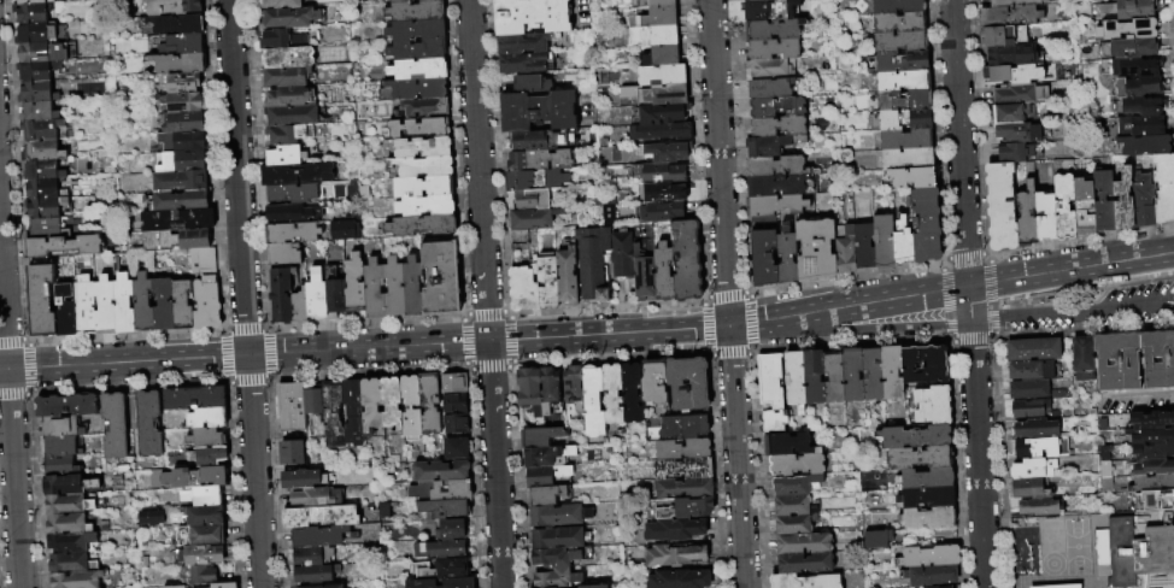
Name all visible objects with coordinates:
building: (427, 0)
building: (763, 0)
building: (1119, 0)
building: (34, 1)
building: (398, 1)
building: (1015, 2)
building: (280, 4)
building: (652, 4)
building: (898, 6)
building: (172, 7)
building: (1128, 8)
building: (769, 10)
building: (415, 11)
building: (33, 13)
building: (532, 16)
building: (1009, 16)
building: (652, 17)
building: (289, 18)
building: (899, 23)
building: (168, 25)
building: (773, 29)
building: (1127, 29)
building: (416, 30)
building: (35, 34)
building: (653, 35)
building: (1003, 36)
building: (284, 39)
building: (900, 42)
building: (524, 43)
building: (178, 45)
building: (1128, 47)
building: (417, 49)
building: (773, 49)
building: (46, 53)
building: (1011, 54)
building: (661, 55)
building: (288, 57)
building: (900, 61)
building: (526, 63)
building: (178, 64)
building: (1131, 66)
building: (770, 69)
building: (418, 70)
building: (37, 71)
building: (1012, 73)
building: (662, 75)
building: (284, 76)
building: (904, 81)
building: (181, 83)
building: (530, 84)
building: (1138, 87)
building: (413, 89)
building: (770, 89)
building: (36, 93)
building: (657, 94)
building: (1017, 94)
building: (288, 96)
building: (904, 100)
building: (178, 102)
building: (1143, 106)
building: (424, 107)
building: (776, 107)
building: (37, 112)
building: (539, 112)
building: (659, 113)
building: (1010, 113)
building: (292, 116)
building: (902, 120)
building: (183, 123)
building: (1137, 127)
building: (418, 128)
building: (777, 128)
building: (43, 130)
building: (661, 133)
building: (1020, 133)
building: (293, 134)
building: (542, 140)
building: (905, 140)
building: (181, 142)
building: (1145, 145)
building: (770, 146)
building: (423, 147)
building: (42, 151)
building: (664, 152)
building: (1017, 153)
building: (284, 157)
building: (908, 159)
building: (540, 160)
building: (184, 161)
road: (718, 163)
building: (774, 165)
building: (424, 166)
building: (1059, 166)
building: (42, 170)
building: (659, 172)
building: (297, 175)
building: (914, 178)
building: (535, 180)
building: (181, 181)
building: (777, 184)
building: (422, 187)
building: (48, 188)
building: (1163, 188)
building: (667, 192)
building: (289, 194)
building: (532, 200)
building: (1103, 200)
building: (1123, 200)
building: (180, 201)
building: (1143, 202)
building: (424, 206)
building: (775, 206)
building: (1002, 206)
building: (1064, 206)
building: (1084, 206)
building: (47, 207)
building: (659, 211)
building: (292, 213)
building: (607, 214)
building: (1026, 214)
building: (356, 216)
building: (1045, 216)
building: (534, 218)
building: (178, 220)
building: (924, 224)
building: (422, 225)
building: (47, 228)
building: (344, 230)
building: (292, 233)
building: (177, 240)
building: (902, 241)
building: (884, 242)
building: (63, 246)
building: (864, 247)
building: (845, 249)
building: (815, 251)
building: (284, 254)
building: (622, 254)
road: (1157, 254)
building: (764, 258)
building: (687, 259)
building: (787, 259)
road: (1111, 263)
building: (204, 264)
building: (591, 270)
building: (642, 271)
building: (664, 272)
building: (567, 277)
road: (1025, 277)
building: (441, 278)
building: (547, 283)
building: (354, 286)
building: (412, 287)
building: (394, 288)
building: (374, 289)
building: (523, 289)
building: (334, 293)
road: (242, 294)
building: (316, 294)
road: (483, 294)
road: (968, 294)
building: (281, 295)
building: (41, 298)
road: (1096, 300)
building: (143, 304)
building: (124, 305)
building: (163, 305)
building: (182, 305)
building: (84, 306)
building: (105, 306)
building: (206, 306)
building: (300, 306)
road: (847, 307)
building: (65, 311)
road: (1172, 311)
road: (1132, 313)
road: (1032, 318)
traffic signals: (728, 327)
road: (896, 329)
road: (364, 348)
building: (1033, 349)
traffic signals: (247, 355)
building: (1082, 358)
building: (1134, 361)
building: (923, 365)
building: (1029, 370)
building: (892, 374)
building: (852, 375)
building: (873, 375)
building: (815, 377)
building: (834, 378)
building: (794, 381)
building: (654, 382)
building: (770, 382)
building: (454, 383)
building: (573, 383)
building: (688, 383)
building: (548, 388)
building: (1028, 389)
building: (529, 390)
building: (632, 393)
building: (612, 394)
road: (1139, 395)
building: (194, 398)
building: (592, 401)
building: (430, 404)
building: (454, 404)
building: (392, 405)
building: (932, 405)
building: (66, 406)
building: (371, 406)
building: (290, 407)
building: (411, 407)
building: (315, 408)
building: (1029, 410)
building: (352, 412)
road: (10, 414)
building: (331, 414)
building: (209, 418)
building: (1152, 419)
building: (773, 422)
building: (148, 424)
building: (457, 424)
building: (115, 425)
building: (61, 427)
building: (685, 427)
building: (1035, 430)
building: (539, 436)
building: (1154, 436)
building: (915, 437)
building: (207, 439)
building: (788, 445)
building: (61, 446)
building: (683, 448)
building: (1034, 448)
building: (457, 449)
building: (1152, 451)
building: (292, 453)
building: (545, 455)
building: (206, 457)
road: (735, 457)
building: (921, 458)
building: (797, 464)
building: (60, 466)
building: (1154, 468)
building: (683, 469)
building: (1033, 469)
building: (1105, 470)
building: (441, 471)
building: (546, 475)
building: (195, 477)
building: (927, 478)
building: (303, 480)
building: (1154, 483)
building: (67, 484)
building: (792, 486)
building: (685, 488)
building: (424, 489)
building: (1028, 489)
building: (205, 495)
building: (546, 495)
building: (927, 498)
building: (317, 499)
building: (1158, 500)
building: (67, 505)
building: (688, 506)
building: (445, 510)
building: (1037, 510)
building: (558, 514)
building: (793, 514)
building: (204, 516)
building: (321, 517)
building: (928, 517)
building: (151, 518)
building: (67, 524)
building: (675, 529)
building: (452, 530)
building: (201, 536)
building: (317, 537)
building: (559, 537)
building: (877, 539)
building: (71, 543)
building: (802, 545)
building: (1099, 547)
building: (440, 549)
building: (1138, 554)
building: (200, 555)
building: (675, 555)
building: (312, 557)
building: (554, 557)
building: (931, 557)
building: (71, 563)
building: (803, 564)
building: (447, 569)
building: (313, 574)
building: (196, 575)
building: (932, 576)
building: (556, 578)
building: (680, 578)
building: (76, 580)
building: (804, 581)
building: (442, 583)
building: (225, 586)
building: (323, 586)
building: (593, 586)
building: (175, 587)
building: (548, 587)
building: (932, 587)
building: (947, 587)

